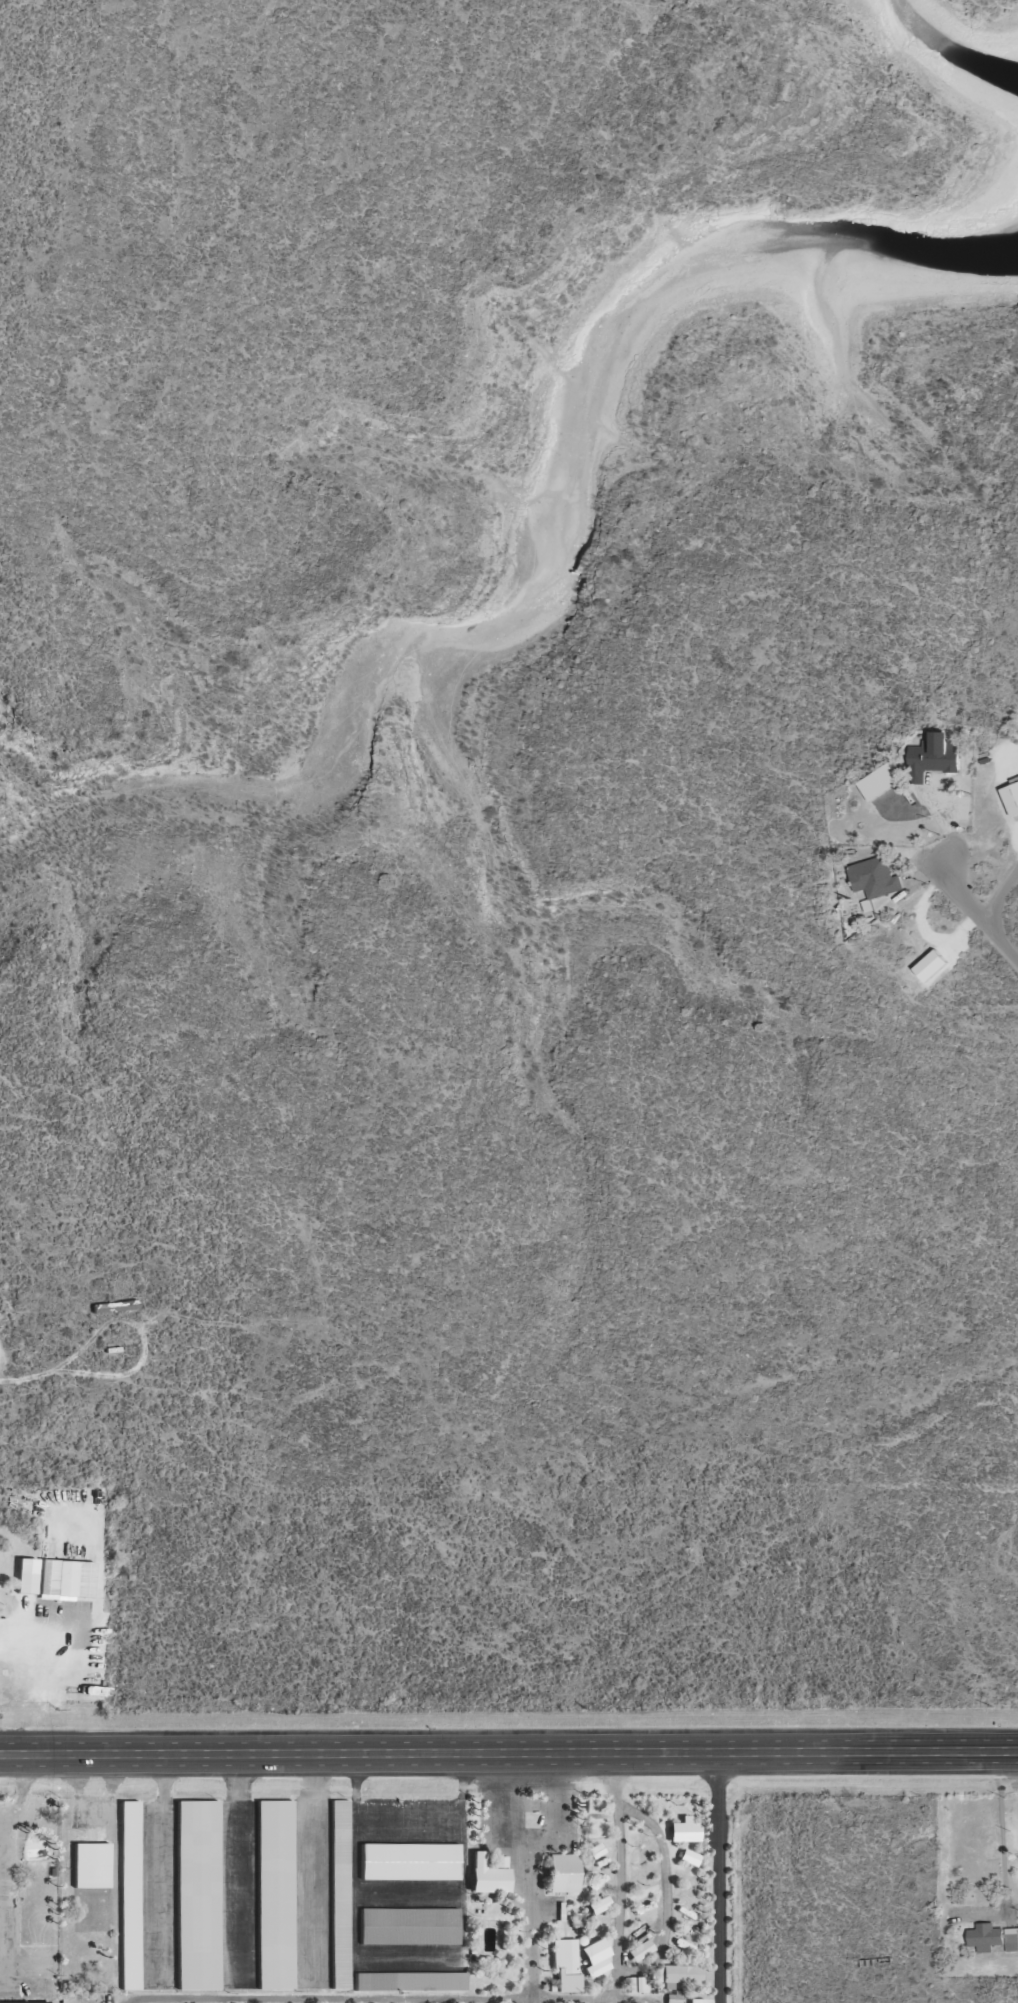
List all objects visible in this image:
building: (934, 757)
building: (880, 782)
building: (1011, 799)
building: (874, 880)
road: (965, 897)
road: (999, 906)
road: (1011, 946)
building: (115, 1307)
road: (0, 1362)
building: (66, 1579)
building: (26, 1583)
road: (508, 1752)
building: (409, 1863)
building: (91, 1866)
road: (164, 1867)
road: (238, 1867)
road: (315, 1867)
road: (5, 1873)
building: (562, 1874)
road: (532, 1875)
building: (487, 1876)
road: (621, 1876)
road: (718, 1877)
road: (667, 1894)
building: (197, 1895)
building: (274, 1895)
building: (339, 1895)
building: (129, 1896)
building: (409, 1927)
building: (992, 1939)
building: (564, 1966)
building: (680, 1974)
building: (410, 1982)
building: (635, 1986)
road: (330, 1998)
road: (592, 1999)
road: (592, 2001)
road: (623, 2001)
building: (22, 2002)

